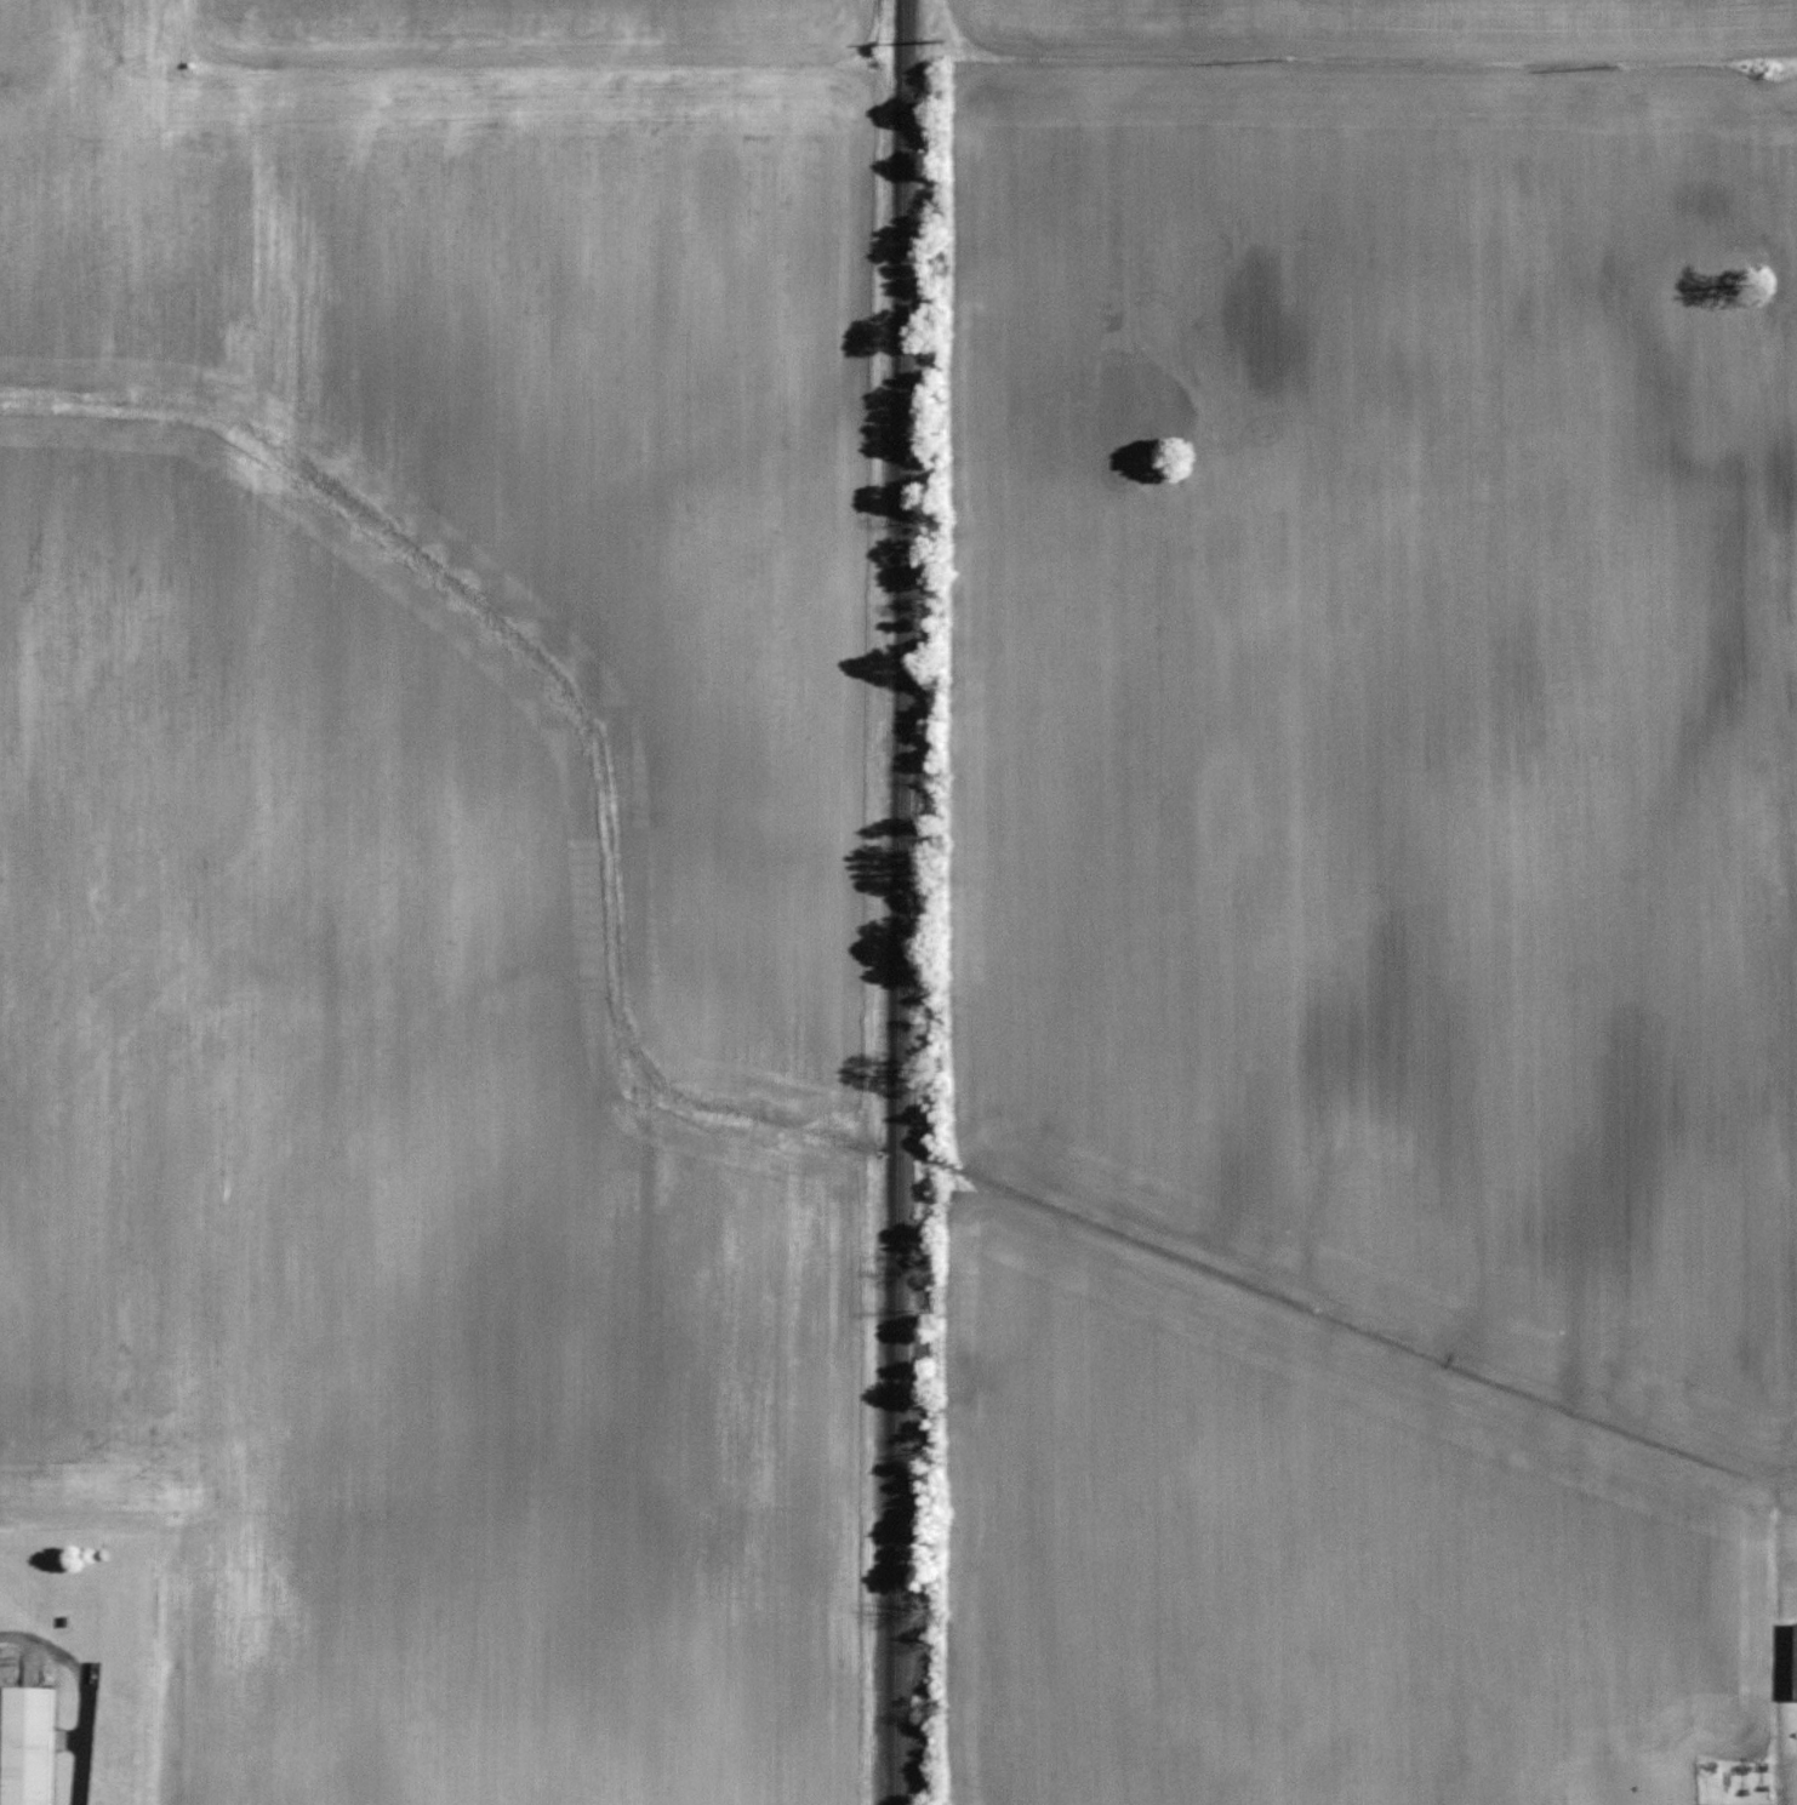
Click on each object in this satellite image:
railway: (901, 902)
building: (1793, 1661)
road: (85, 1691)
building: (32, 1744)

